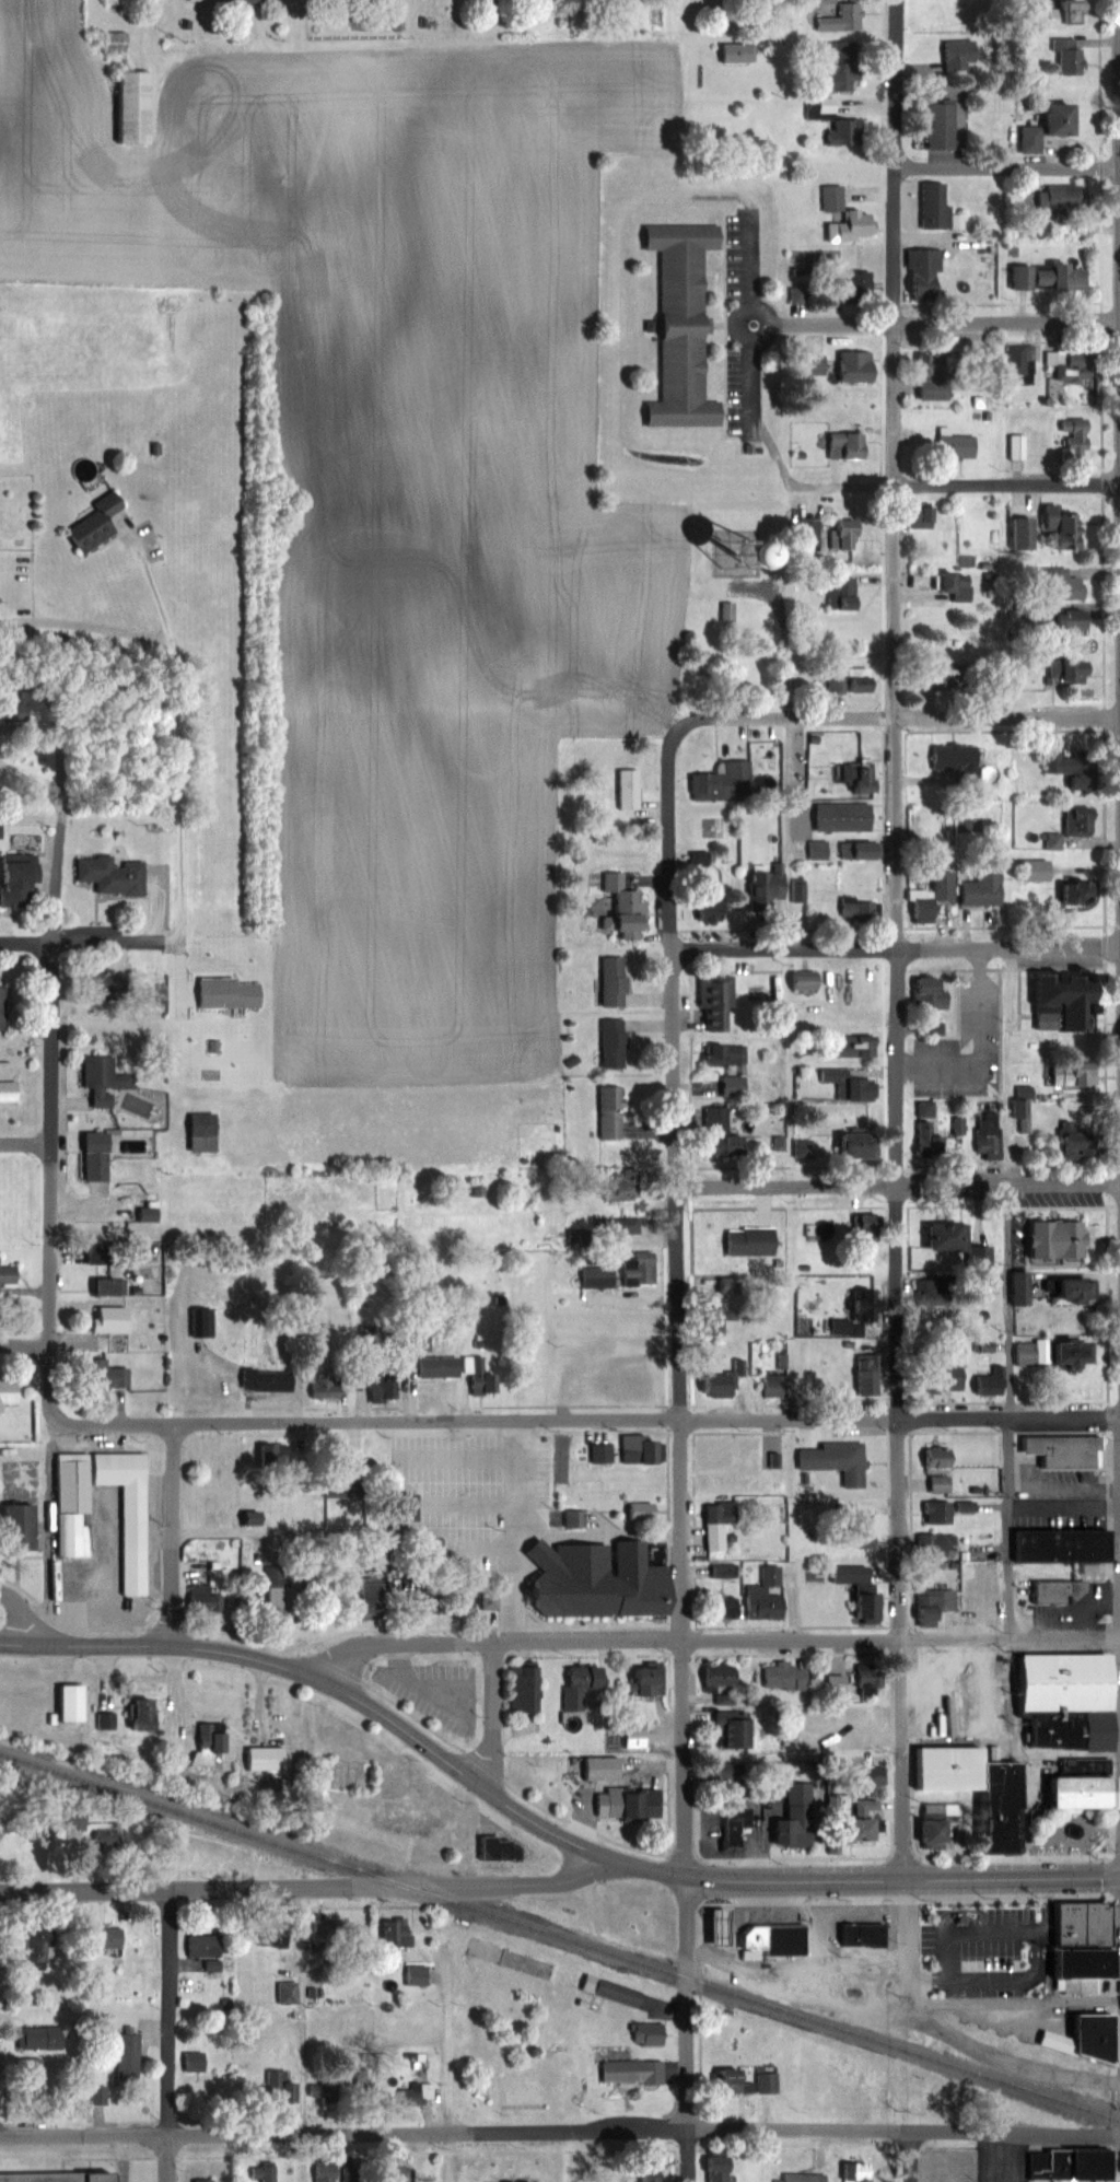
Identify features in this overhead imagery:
building: (246, 0)
building: (1080, 12)
building: (845, 17)
building: (118, 42)
building: (961, 55)
building: (1071, 57)
building: (843, 65)
building: (138, 106)
building: (945, 124)
building: (1054, 127)
building: (848, 131)
road: (1007, 168)
building: (835, 198)
building: (1066, 198)
building: (936, 205)
building: (853, 227)
road: (744, 271)
building: (927, 271)
building: (1054, 278)
building: (862, 284)
building: (686, 324)
road: (763, 324)
road: (1007, 324)
road: (837, 325)
building: (1020, 360)
building: (1075, 364)
building: (861, 366)
road: (746, 375)
building: (941, 377)
building: (1078, 439)
building: (851, 445)
road: (1007, 485)
building: (100, 523)
building: (1066, 528)
building: (1026, 533)
building: (960, 585)
building: (1071, 587)
building: (731, 611)
building: (1078, 622)
building: (1073, 669)
road: (894, 717)
road: (172, 738)
road: (58, 756)
building: (954, 762)
building: (854, 777)
building: (727, 781)
building: (631, 789)
building: (1075, 820)
building: (1029, 868)
building: (115, 875)
building: (24, 876)
building: (979, 888)
building: (1071, 891)
building: (925, 898)
building: (626, 902)
road: (147, 903)
building: (854, 909)
road: (898, 938)
road: (73, 941)
road: (896, 950)
building: (617, 980)
building: (924, 992)
building: (4, 1003)
building: (617, 1043)
building: (848, 1047)
building: (732, 1066)
road: (1007, 1066)
building: (1071, 1072)
road: (52, 1073)
building: (9, 1081)
building: (107, 1081)
building: (845, 1084)
building: (612, 1110)
building: (207, 1131)
building: (984, 1134)
building: (734, 1143)
building: (845, 1143)
road: (26, 1147)
building: (96, 1155)
building: (628, 1183)
road: (898, 1185)
building: (476, 1191)
building: (1048, 1238)
building: (754, 1239)
building: (623, 1272)
building: (10, 1273)
building: (104, 1285)
building: (1014, 1288)
building: (1059, 1291)
road: (1007, 1303)
road: (680, 1309)
road: (25, 1346)
building: (1047, 1353)
building: (445, 1366)
building: (871, 1377)
building: (271, 1380)
building: (723, 1384)
building: (633, 1385)
building: (980, 1385)
building: (775, 1386)
building: (328, 1388)
building: (10, 1392)
road: (549, 1424)
building: (641, 1449)
building: (723, 1454)
building: (941, 1458)
building: (838, 1460)
road: (515, 1478)
building: (943, 1484)
road: (1064, 1508)
building: (940, 1513)
building: (137, 1519)
building: (722, 1524)
building: (24, 1526)
road: (1008, 1528)
road: (396, 1529)
road: (174, 1537)
building: (941, 1544)
building: (863, 1588)
building: (768, 1594)
building: (206, 1598)
building: (937, 1603)
road: (26, 1613)
road: (711, 1641)
building: (723, 1673)
building: (789, 1676)
building: (650, 1680)
road: (434, 1681)
building: (874, 1681)
building: (586, 1685)
building: (522, 1688)
road: (173, 1689)
building: (77, 1702)
road: (362, 1704)
building: (860, 1712)
building: (147, 1714)
road: (491, 1717)
building: (736, 1728)
building: (212, 1740)
road: (1008, 1742)
building: (269, 1757)
building: (605, 1767)
building: (349, 1769)
building: (878, 1775)
building: (937, 1777)
building: (620, 1802)
building: (871, 1818)
building: (798, 1819)
building: (943, 1824)
building: (110, 1837)
road: (905, 1878)
road: (308, 1887)
building: (326, 1932)
building: (400, 1932)
railway: (560, 1935)
building: (862, 1935)
building: (112, 1938)
building: (791, 1940)
building: (1089, 1941)
building: (203, 1946)
building: (43, 1948)
road: (844, 1975)
building: (289, 1993)
road: (1025, 2004)
road: (304, 2011)
road: (689, 2031)
road: (171, 2035)
building: (43, 2038)
road: (450, 2050)
building: (130, 2055)
road: (997, 2057)
building: (197, 2061)
building: (33, 2066)
building: (633, 2072)
building: (752, 2080)
building: (283, 2087)
building: (325, 2097)
road: (560, 2133)
road: (912, 2158)
road: (1005, 2158)
building: (723, 2168)
building: (328, 2173)
building: (61, 2177)
building: (653, 2178)
building: (803, 2178)
building: (210, 2180)
building: (541, 2181)

